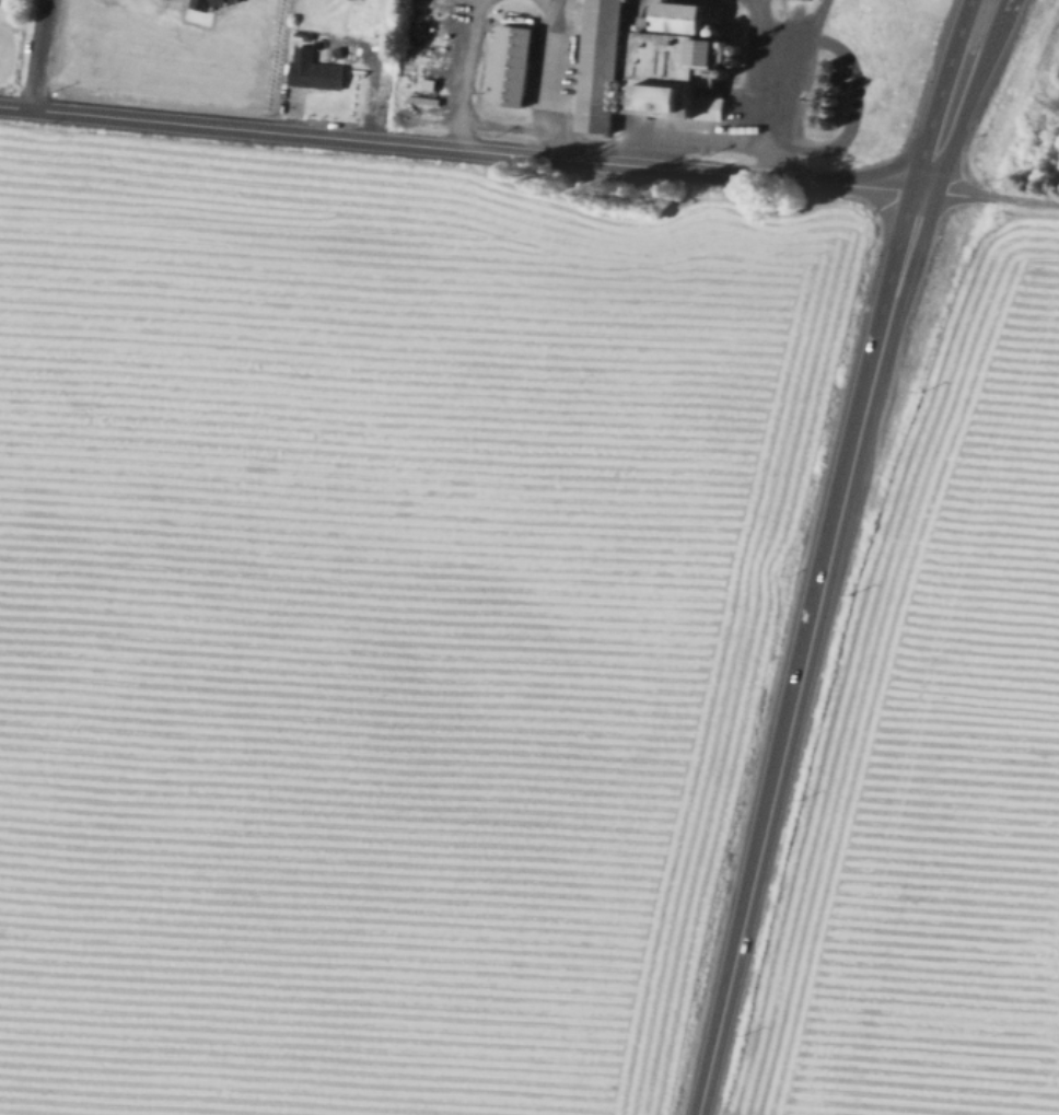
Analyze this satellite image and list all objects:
building: (238, 0)
building: (209, 3)
road: (552, 11)
road: (768, 31)
road: (998, 32)
building: (726, 35)
silo: (726, 35)
building: (748, 53)
silo: (748, 53)
road: (36, 54)
road: (377, 55)
building: (683, 61)
building: (747, 65)
silo: (747, 65)
building: (604, 66)
building: (512, 68)
building: (837, 68)
silo: (837, 68)
road: (469, 73)
building: (318, 76)
road: (551, 78)
building: (733, 78)
building: (834, 81)
silo: (834, 81)
road: (785, 83)
road: (858, 86)
building: (631, 88)
silo: (631, 88)
building: (638, 89)
silo: (638, 89)
building: (848, 93)
silo: (848, 93)
building: (630, 95)
silo: (630, 95)
building: (831, 95)
silo: (831, 95)
building: (637, 96)
silo: (637, 96)
building: (629, 103)
silo: (629, 103)
building: (637, 104)
silo: (637, 104)
building: (846, 104)
silo: (846, 104)
building: (717, 109)
building: (828, 109)
silo: (828, 109)
building: (629, 111)
silo: (629, 111)
building: (636, 112)
silo: (636, 112)
building: (842, 116)
silo: (842, 116)
building: (825, 123)
silo: (825, 123)
building: (839, 128)
silo: (839, 128)
road: (931, 130)
road: (619, 138)
road: (469, 150)
road: (999, 197)
road: (929, 227)
road: (878, 325)
crop: (377, 618)
road: (785, 752)
crop: (939, 760)

